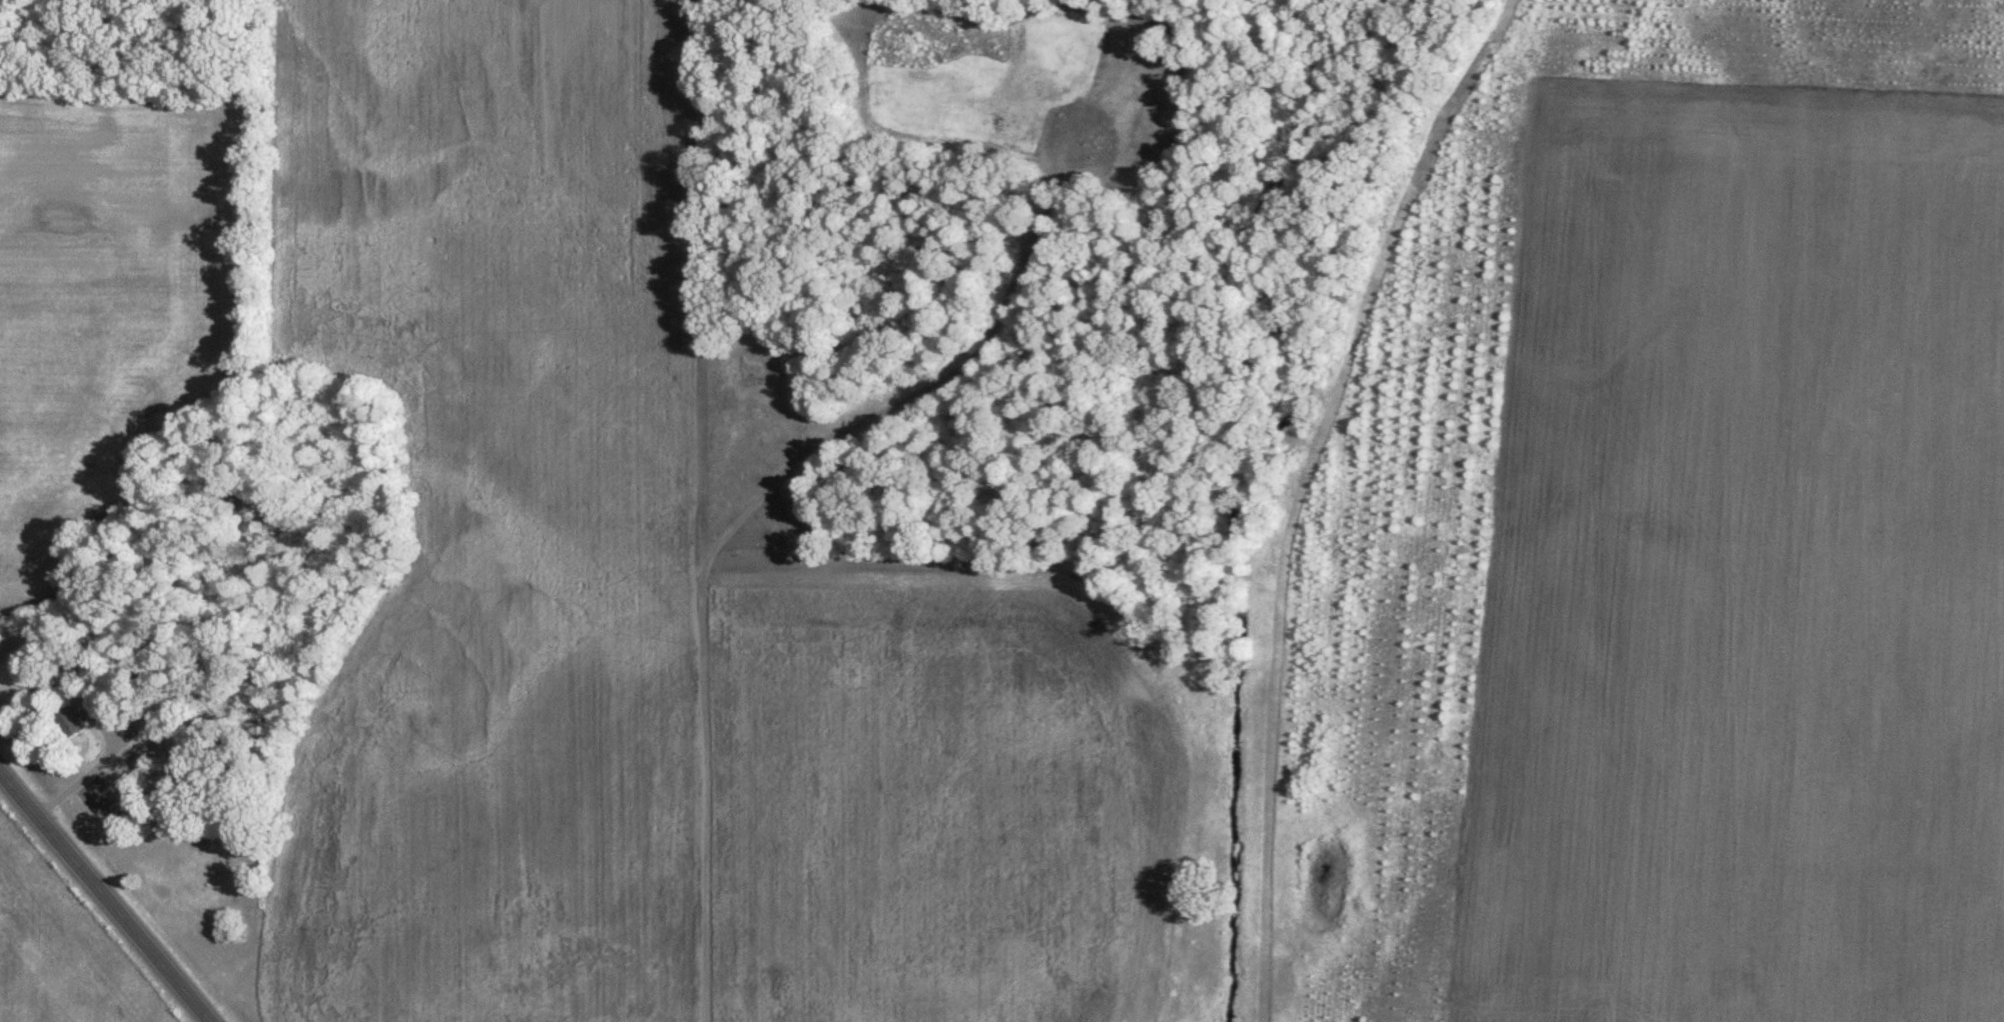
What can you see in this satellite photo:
building: (67, 719)
road: (105, 898)
crop: (58, 949)

